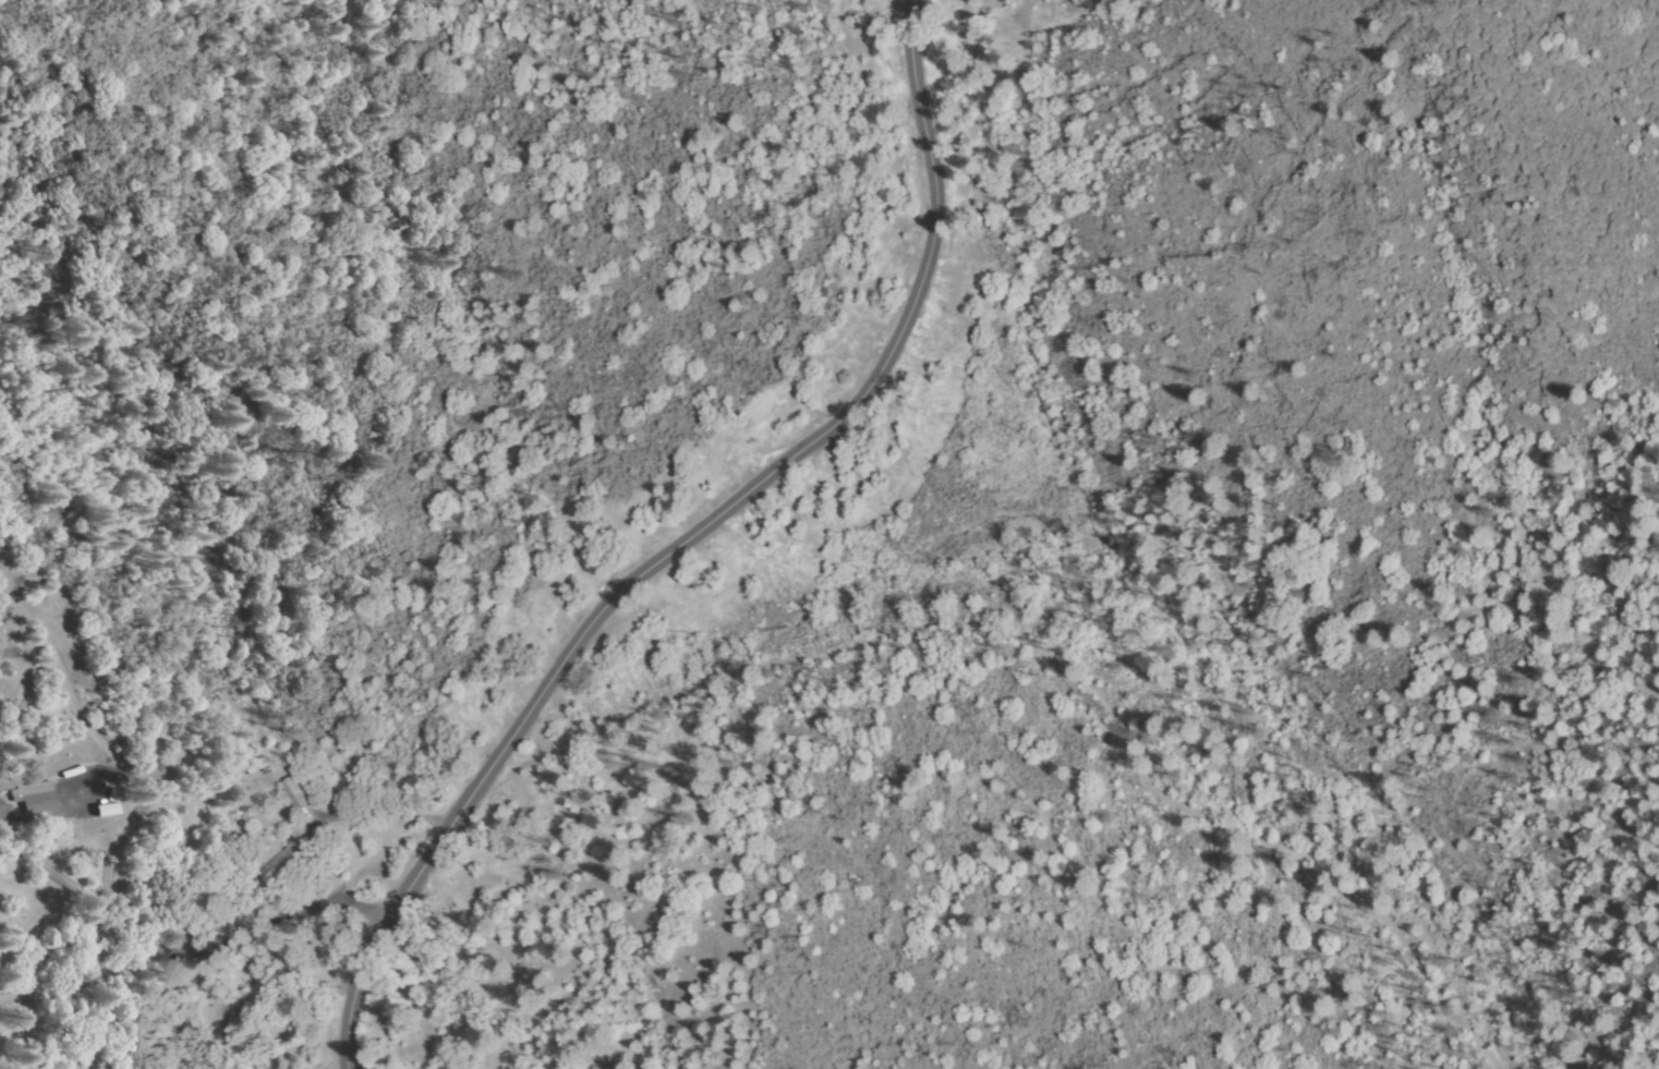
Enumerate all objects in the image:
road: (694, 539)
building: (303, 793)
building: (39, 797)
road: (158, 799)
building: (106, 805)
building: (289, 865)
road: (204, 945)
building: (603, 1066)

